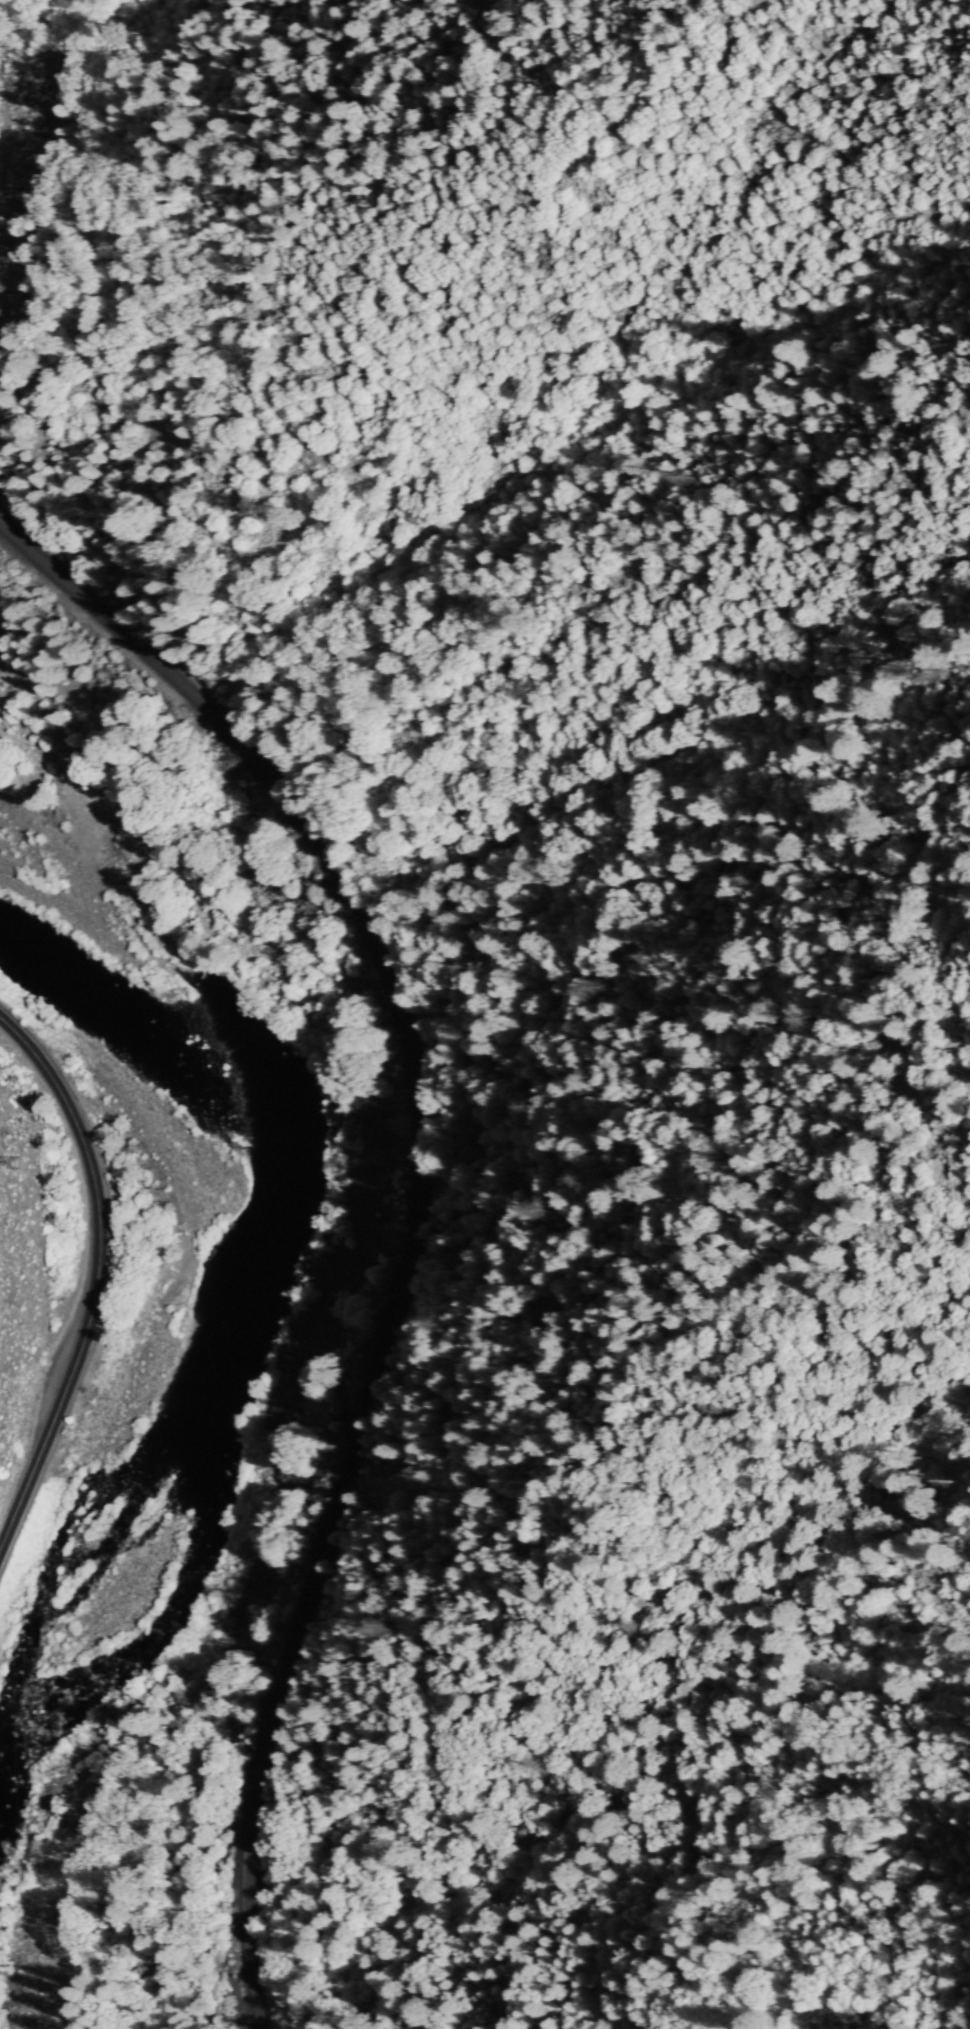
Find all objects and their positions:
railway: (416, 1212)
road: (97, 1277)
river: (250, 1282)
river: (16, 1736)
power tower: (43, 1846)

